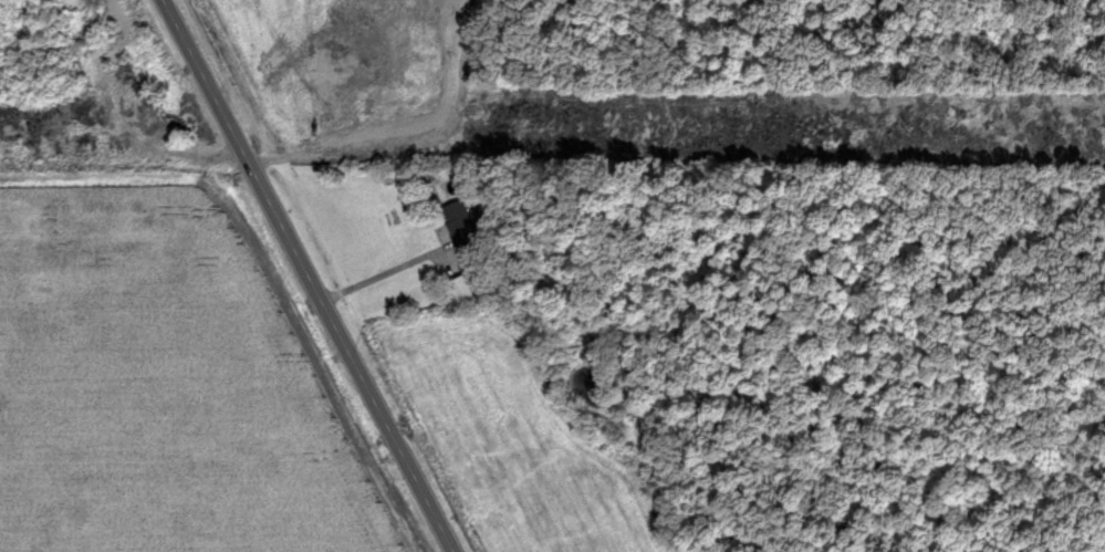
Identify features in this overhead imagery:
building: (118, 17)
building: (461, 232)
road: (396, 268)
road: (303, 277)

